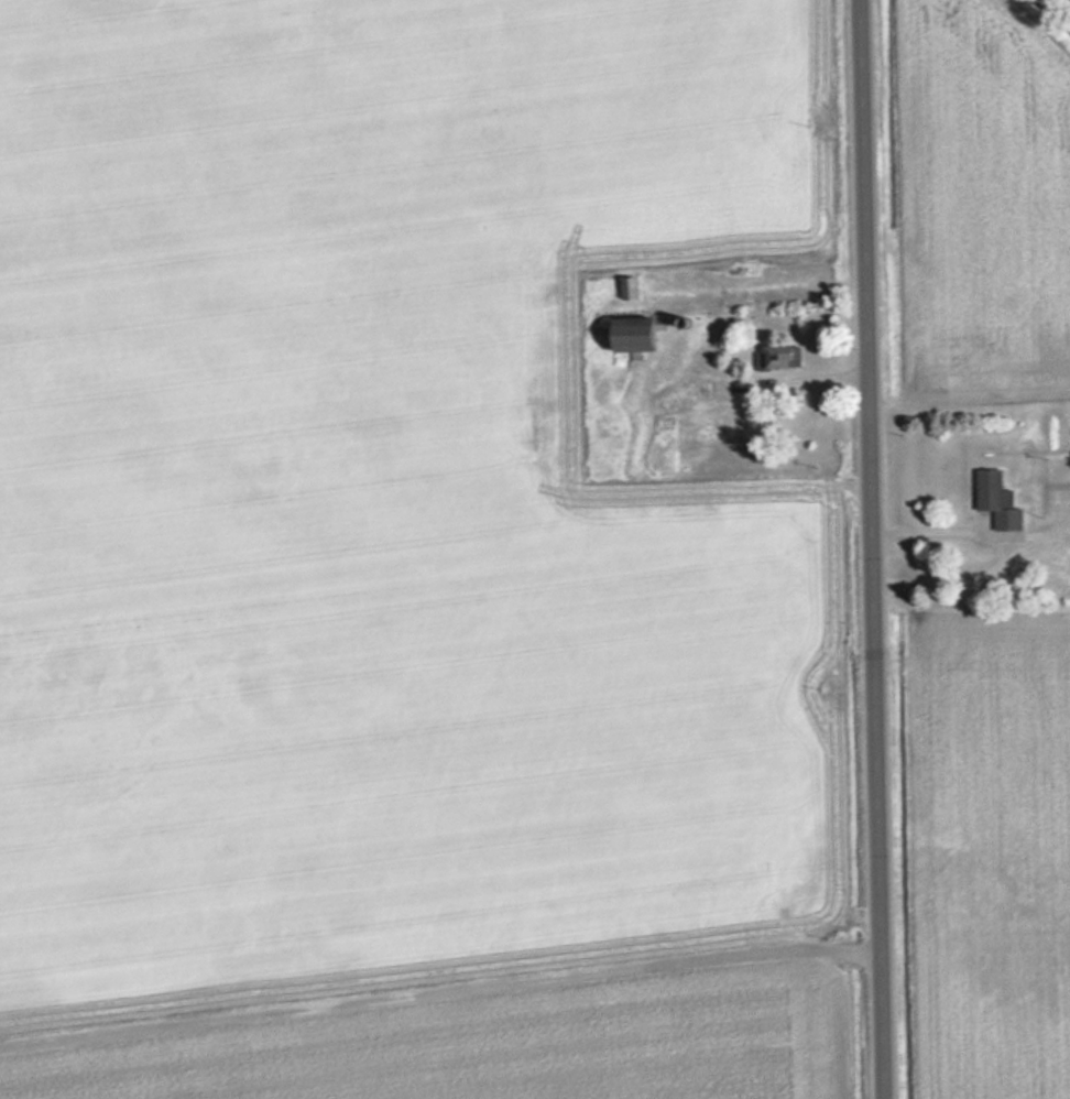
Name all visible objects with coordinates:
building: (627, 290)
building: (632, 335)
building: (780, 358)
building: (996, 499)
road: (874, 549)

